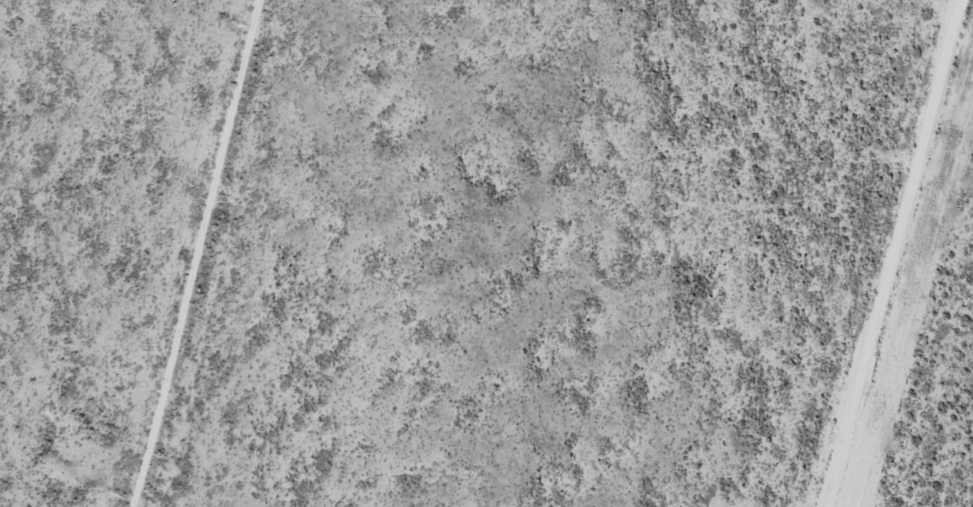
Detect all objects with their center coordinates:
road: (891, 253)

